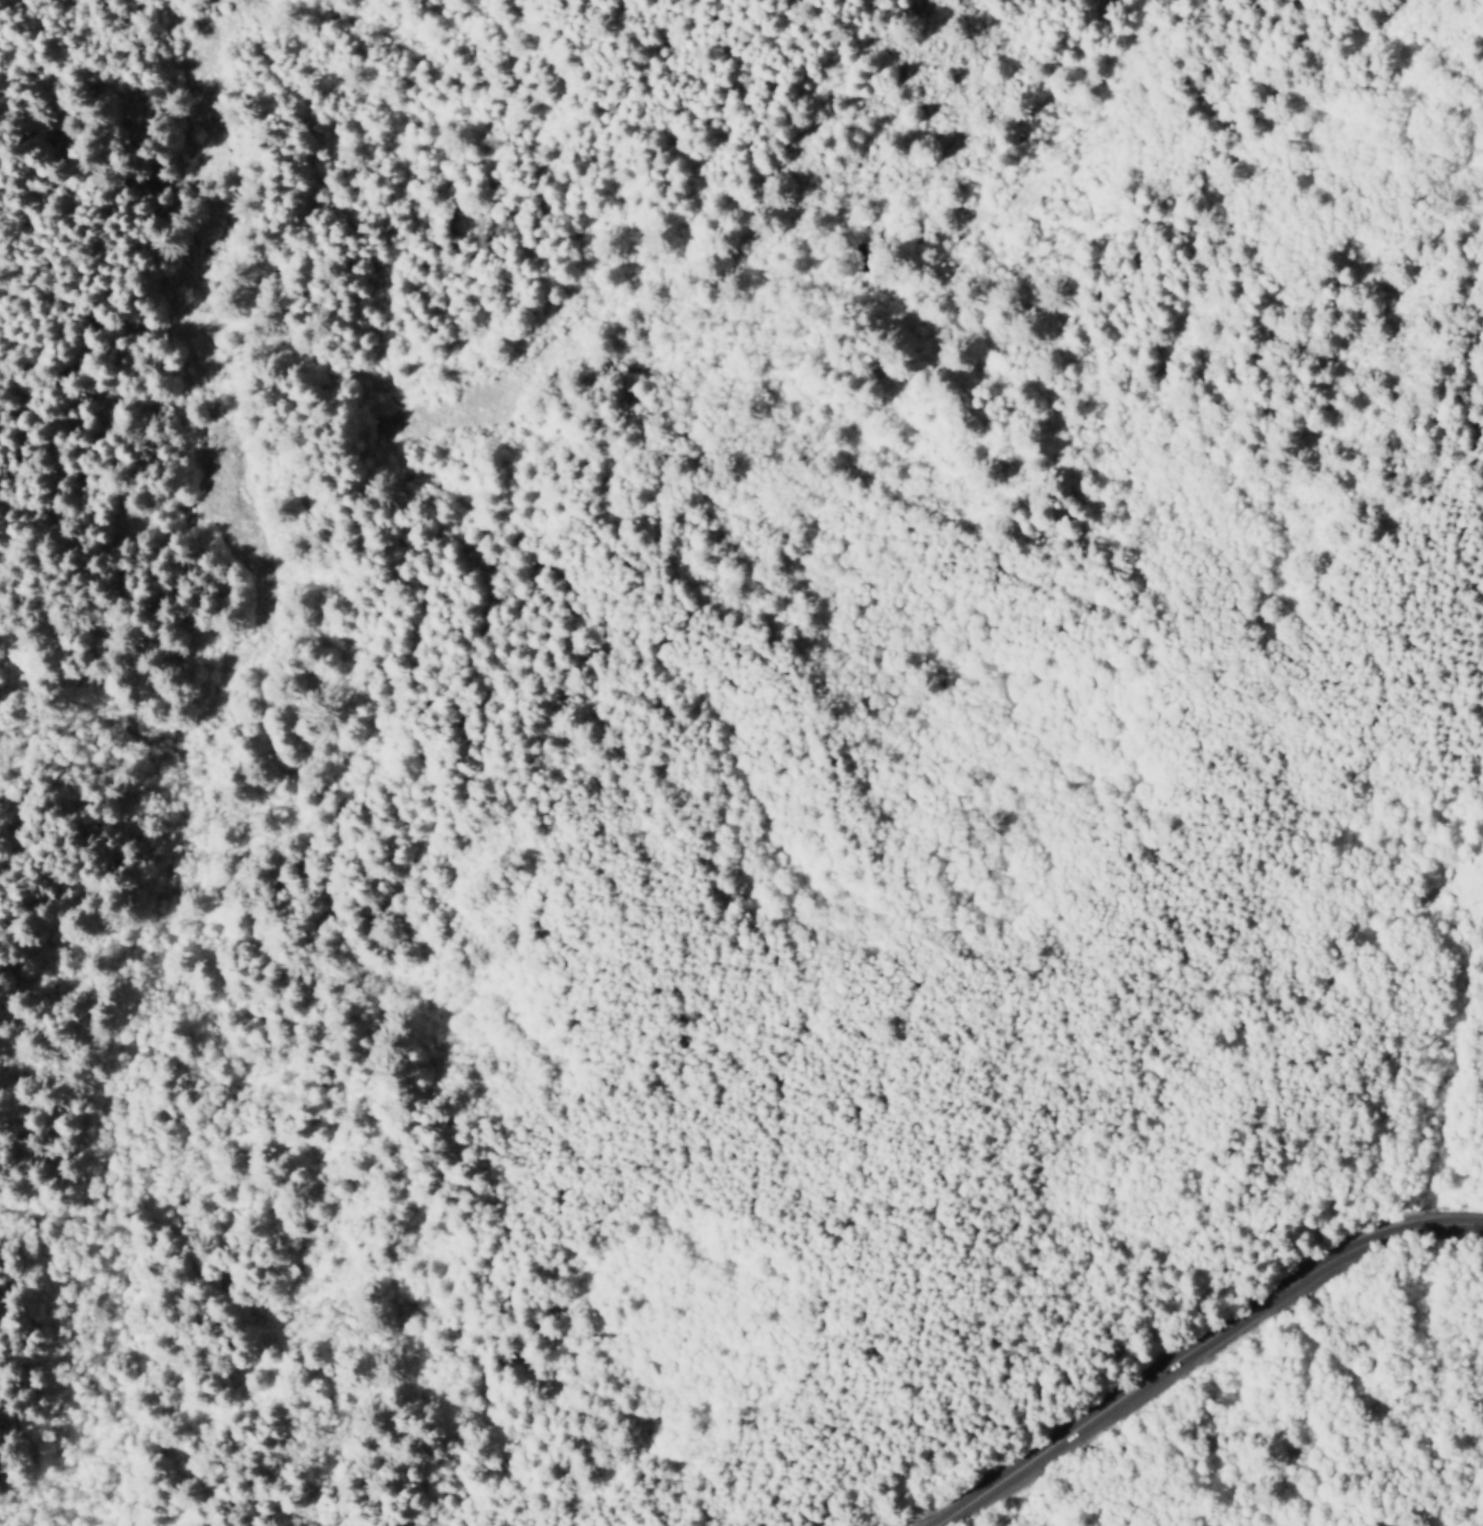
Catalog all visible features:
road: (1189, 1346)

